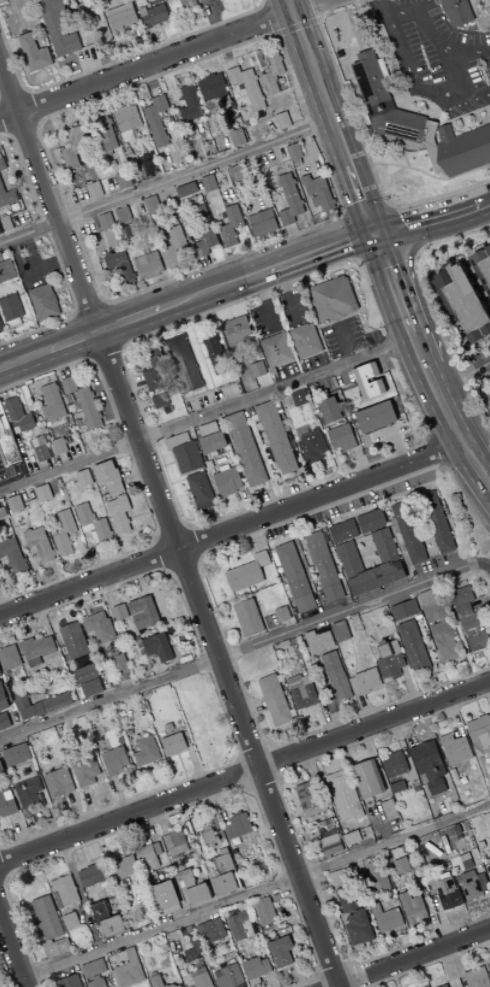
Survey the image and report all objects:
building: (153, 0)
road: (276, 2)
road: (265, 3)
building: (182, 5)
road: (254, 5)
road: (290, 6)
road: (383, 6)
building: (444, 8)
road: (314, 9)
building: (458, 12)
building: (153, 16)
building: (122, 19)
road: (212, 19)
road: (272, 20)
road: (319, 21)
building: (58, 27)
road: (296, 27)
road: (432, 33)
building: (489, 35)
road: (275, 36)
building: (352, 43)
road: (155, 44)
road: (282, 45)
road: (142, 46)
road: (9, 47)
road: (226, 52)
road: (483, 52)
building: (34, 53)
road: (255, 57)
road: (160, 61)
road: (115, 62)
road: (91, 65)
road: (312, 66)
road: (264, 68)
road: (454, 69)
building: (384, 70)
road: (409, 73)
building: (261, 74)
building: (273, 74)
road: (151, 81)
building: (212, 87)
building: (248, 87)
road: (475, 92)
road: (14, 99)
road: (120, 99)
building: (384, 101)
building: (191, 104)
road: (29, 108)
road: (488, 114)
road: (86, 115)
road: (465, 115)
road: (6, 117)
building: (127, 118)
road: (478, 119)
building: (157, 121)
building: (283, 121)
road: (485, 122)
road: (37, 123)
road: (167, 125)
road: (23, 126)
road: (56, 131)
road: (11, 133)
building: (105, 134)
building: (238, 137)
road: (363, 141)
road: (307, 143)
road: (341, 143)
building: (433, 146)
building: (73, 147)
building: (61, 148)
building: (464, 149)
building: (295, 151)
road: (268, 158)
road: (405, 159)
building: (2, 164)
road: (196, 171)
building: (238, 173)
road: (431, 175)
road: (19, 176)
building: (123, 180)
road: (255, 180)
building: (209, 183)
building: (95, 190)
building: (186, 190)
building: (321, 193)
road: (49, 195)
building: (7, 196)
road: (280, 196)
building: (290, 199)
road: (362, 200)
road: (136, 204)
building: (152, 204)
road: (181, 204)
road: (316, 204)
road: (389, 206)
road: (316, 211)
road: (367, 212)
building: (123, 215)
road: (343, 215)
building: (106, 221)
building: (7, 223)
road: (310, 223)
building: (263, 224)
building: (231, 226)
building: (243, 226)
road: (241, 231)
building: (0, 232)
building: (204, 232)
road: (30, 233)
traffic signals: (374, 233)
road: (282, 234)
road: (248, 239)
road: (271, 239)
road: (353, 239)
road: (295, 240)
building: (174, 247)
road: (224, 253)
building: (1, 257)
road: (58, 257)
road: (392, 260)
building: (484, 263)
road: (46, 265)
building: (149, 266)
road: (194, 266)
building: (119, 269)
building: (7, 271)
road: (210, 273)
road: (367, 274)
road: (98, 277)
road: (242, 277)
road: (155, 282)
road: (392, 282)
road: (56, 294)
road: (285, 295)
road: (25, 297)
building: (334, 299)
road: (267, 301)
building: (44, 302)
building: (463, 303)
road: (104, 304)
building: (11, 308)
road: (431, 309)
road: (91, 310)
road: (232, 311)
road: (77, 314)
road: (338, 319)
building: (14, 323)
building: (1, 326)
road: (110, 326)
building: (239, 330)
road: (86, 336)
building: (306, 340)
road: (346, 340)
road: (201, 343)
road: (121, 347)
road: (418, 349)
building: (277, 350)
road: (106, 351)
building: (216, 352)
road: (92, 358)
road: (207, 358)
road: (60, 361)
building: (184, 363)
road: (206, 364)
road: (198, 367)
building: (154, 369)
building: (258, 370)
road: (461, 375)
building: (362, 381)
building: (69, 385)
road: (20, 387)
road: (38, 392)
building: (299, 398)
building: (161, 401)
building: (487, 401)
building: (52, 402)
building: (89, 408)
road: (140, 409)
building: (330, 411)
building: (17, 415)
road: (206, 415)
building: (376, 417)
road: (41, 418)
building: (208, 429)
road: (453, 431)
road: (385, 434)
building: (48, 436)
building: (277, 437)
building: (342, 438)
building: (177, 440)
building: (7, 441)
building: (38, 441)
building: (213, 442)
building: (60, 448)
road: (397, 448)
building: (246, 449)
building: (313, 449)
building: (42, 452)
building: (188, 457)
road: (175, 461)
road: (361, 463)
road: (169, 464)
road: (32, 466)
building: (224, 468)
road: (135, 475)
building: (109, 477)
building: (84, 478)
road: (315, 481)
road: (140, 482)
building: (228, 482)
road: (272, 490)
building: (201, 491)
building: (44, 493)
road: (159, 496)
road: (190, 497)
building: (15, 504)
road: (246, 505)
road: (56, 507)
building: (2, 510)
building: (85, 514)
building: (120, 514)
road: (132, 515)
road: (27, 516)
road: (140, 516)
road: (214, 521)
building: (371, 521)
building: (111, 522)
building: (437, 522)
building: (88, 528)
road: (229, 529)
building: (103, 530)
road: (187, 530)
building: (343, 531)
building: (64, 532)
building: (407, 532)
road: (126, 534)
road: (174, 537)
road: (159, 539)
road: (74, 541)
road: (129, 542)
building: (383, 543)
building: (39, 545)
building: (8, 547)
road: (80, 551)
road: (98, 553)
road: (483, 563)
building: (323, 567)
building: (366, 572)
building: (247, 573)
road: (40, 575)
building: (295, 578)
road: (13, 586)
road: (3, 604)
building: (404, 610)
building: (142, 612)
road: (349, 612)
building: (119, 613)
building: (282, 615)
building: (248, 618)
building: (470, 622)
building: (438, 626)
building: (99, 627)
building: (340, 632)
building: (74, 641)
building: (319, 642)
building: (413, 646)
building: (158, 648)
building: (36, 650)
building: (9, 658)
building: (390, 661)
building: (119, 668)
building: (0, 675)
building: (336, 676)
building: (88, 681)
building: (365, 682)
building: (3, 699)
road: (111, 700)
building: (275, 701)
building: (40, 705)
building: (4, 722)
building: (480, 731)
building: (175, 744)
building: (455, 749)
building: (146, 752)
building: (16, 755)
building: (395, 765)
building: (114, 766)
building: (429, 766)
building: (1, 771)
road: (245, 771)
building: (86, 772)
building: (367, 779)
building: (59, 783)
building: (397, 787)
building: (28, 793)
building: (343, 796)
building: (308, 800)
building: (7, 803)
building: (389, 809)
road: (280, 824)
building: (238, 827)
building: (208, 836)
building: (351, 838)
building: (176, 843)
building: (331, 845)
building: (148, 856)
building: (467, 863)
building: (401, 866)
building: (489, 866)
building: (124, 868)
building: (92, 875)
building: (224, 876)
building: (340, 877)
building: (377, 878)
building: (472, 885)
building: (194, 889)
building: (64, 892)
building: (447, 892)
building: (164, 896)
road: (78, 897)
road: (251, 898)
building: (346, 899)
building: (413, 909)
building: (264, 912)
building: (386, 919)
building: (70, 921)
building: (108, 921)
building: (240, 927)
building: (50, 928)
building: (358, 928)
building: (212, 931)
road: (13, 948)
building: (281, 953)
building: (193, 955)
road: (412, 959)
building: (489, 965)
building: (256, 968)
building: (93, 969)
building: (128, 971)
building: (228, 976)
building: (200, 978)
building: (477, 978)
building: (156, 981)
building: (70, 982)
building: (100, 983)
building: (176, 985)
building: (445, 986)

